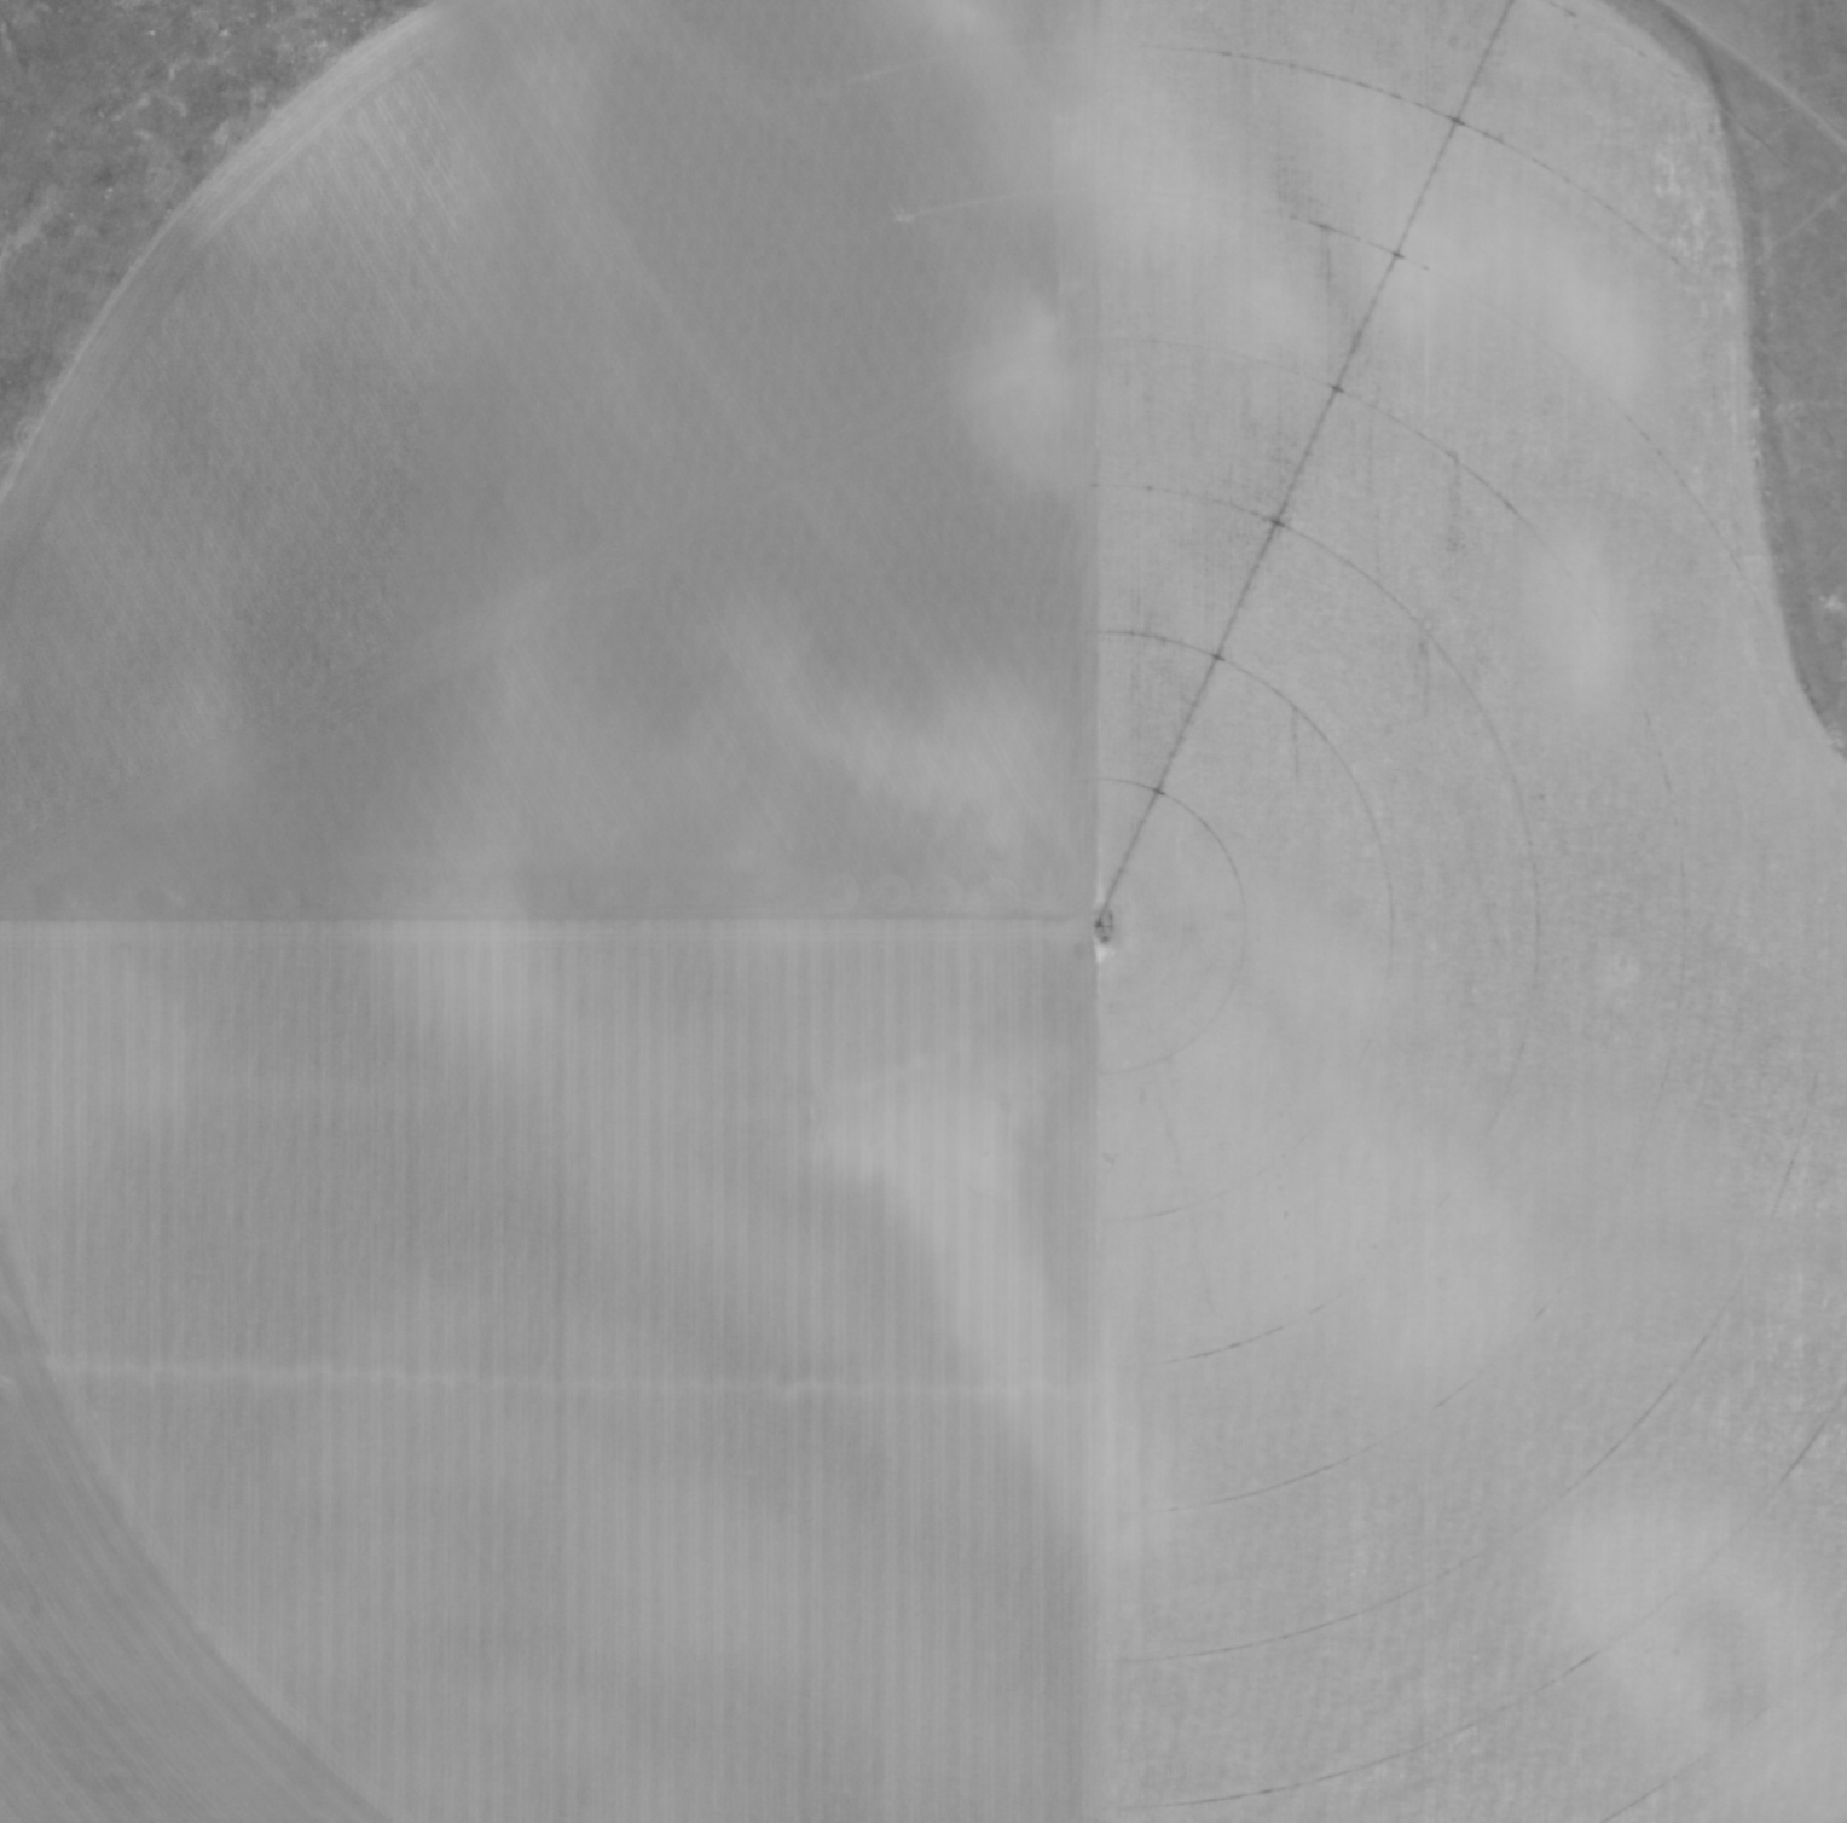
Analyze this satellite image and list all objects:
crop: (940, 939)

